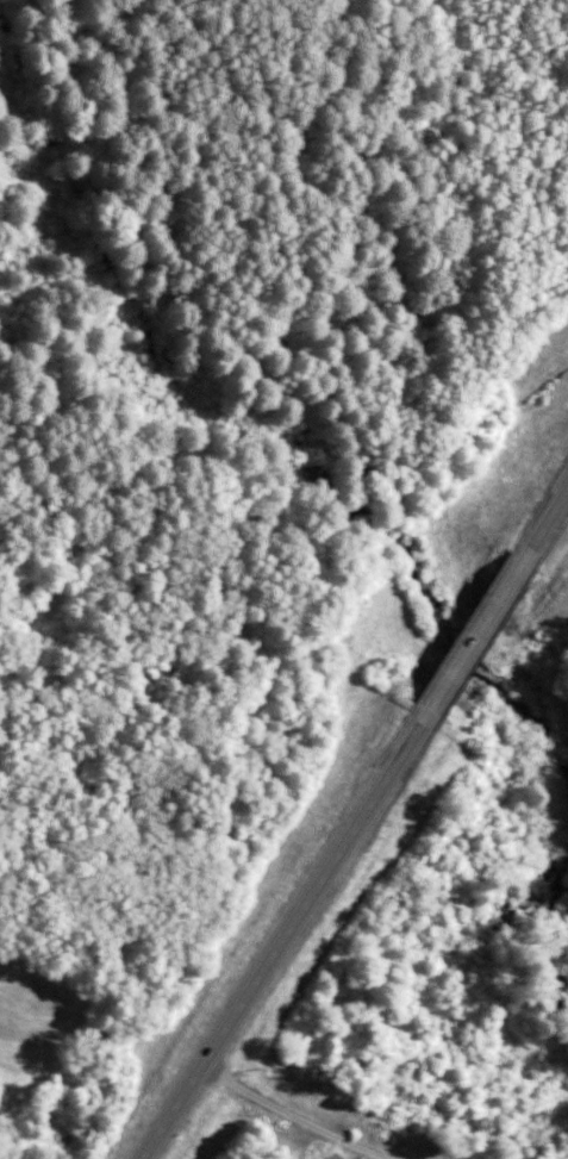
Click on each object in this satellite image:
park: (110, 18)
road: (542, 517)
road: (463, 636)
road: (271, 936)

